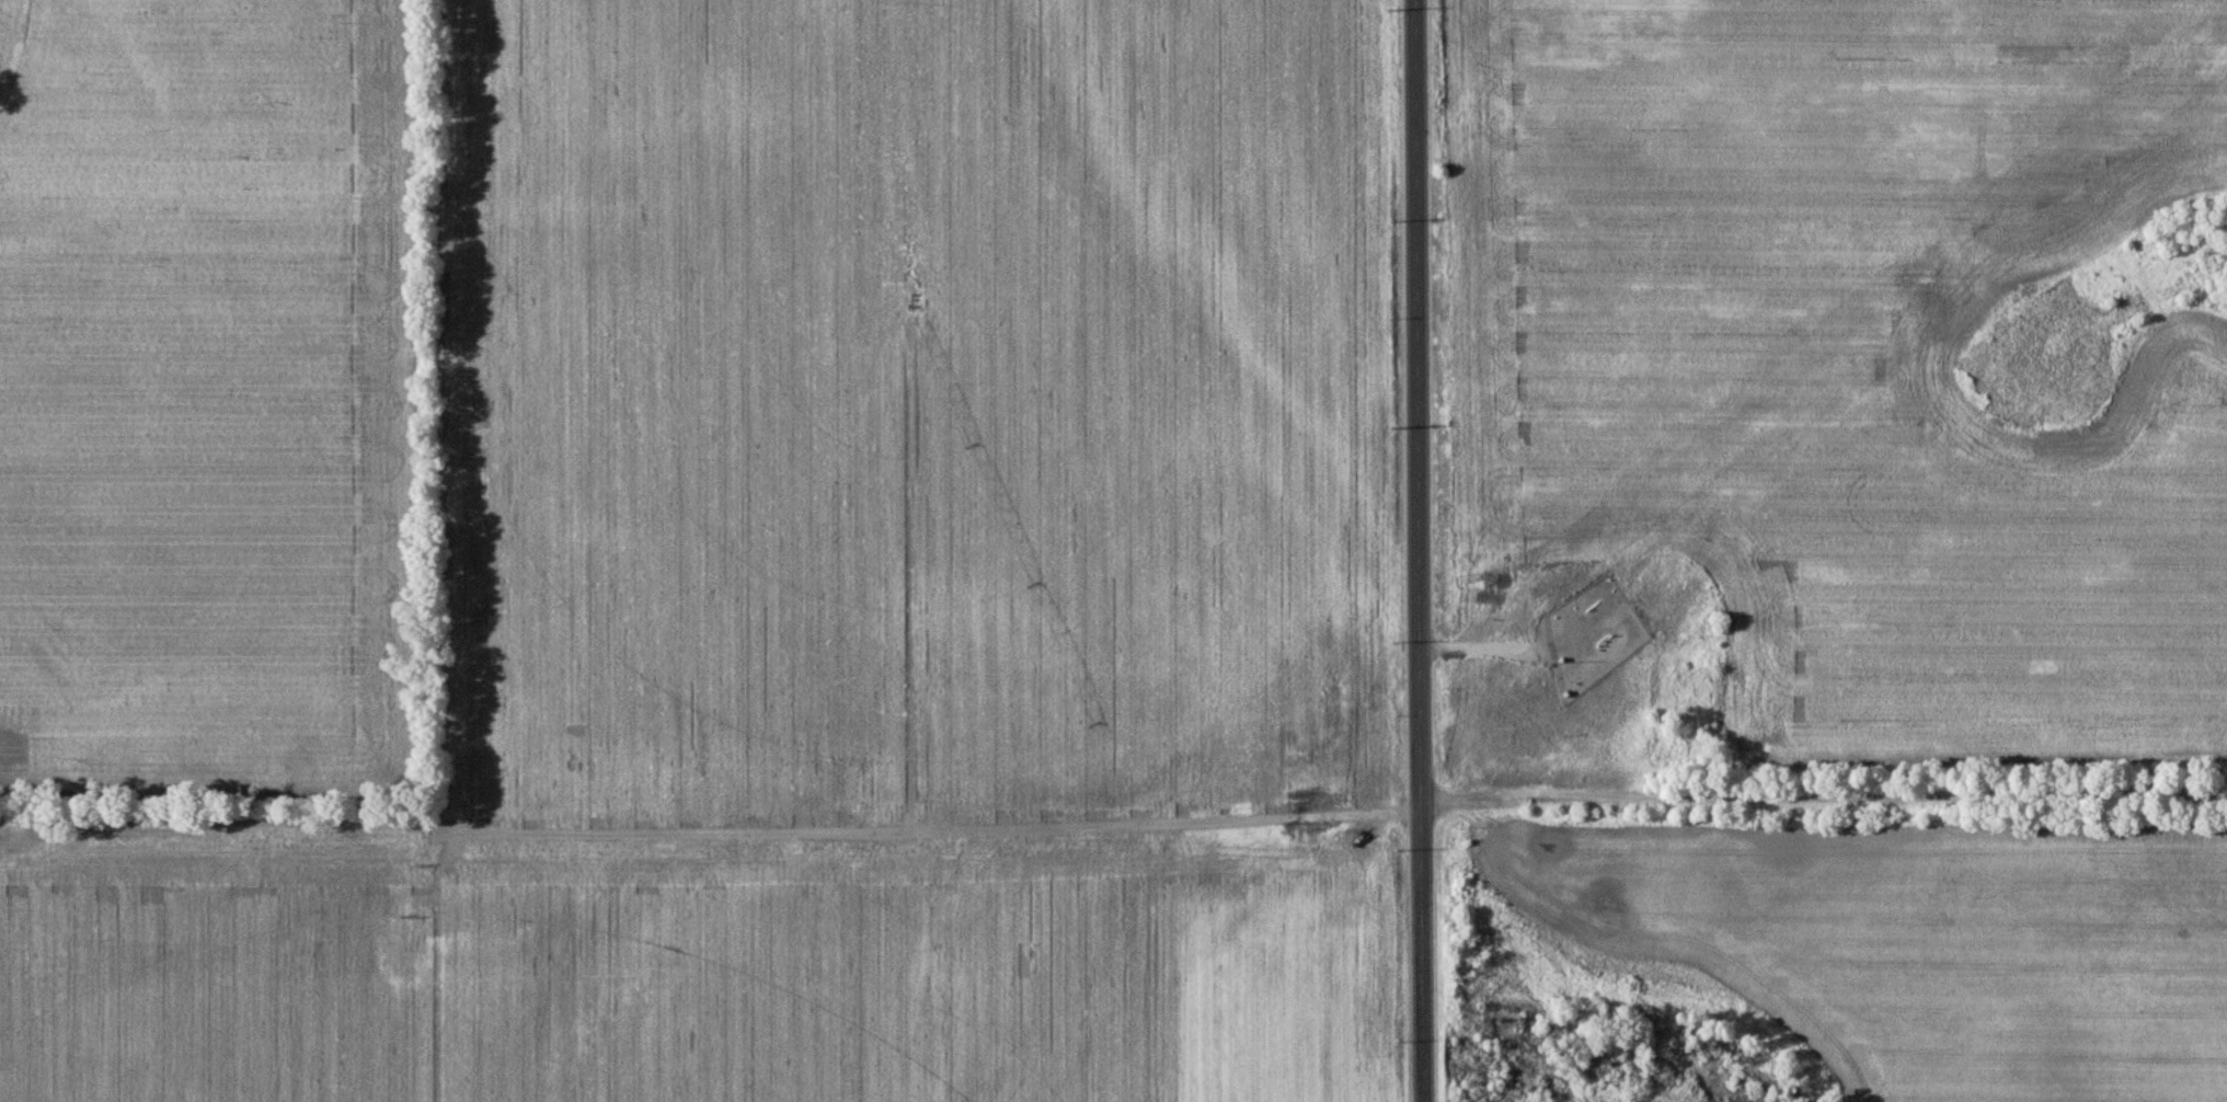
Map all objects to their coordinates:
road: (1423, 550)
road: (1483, 651)
road: (1826, 796)

